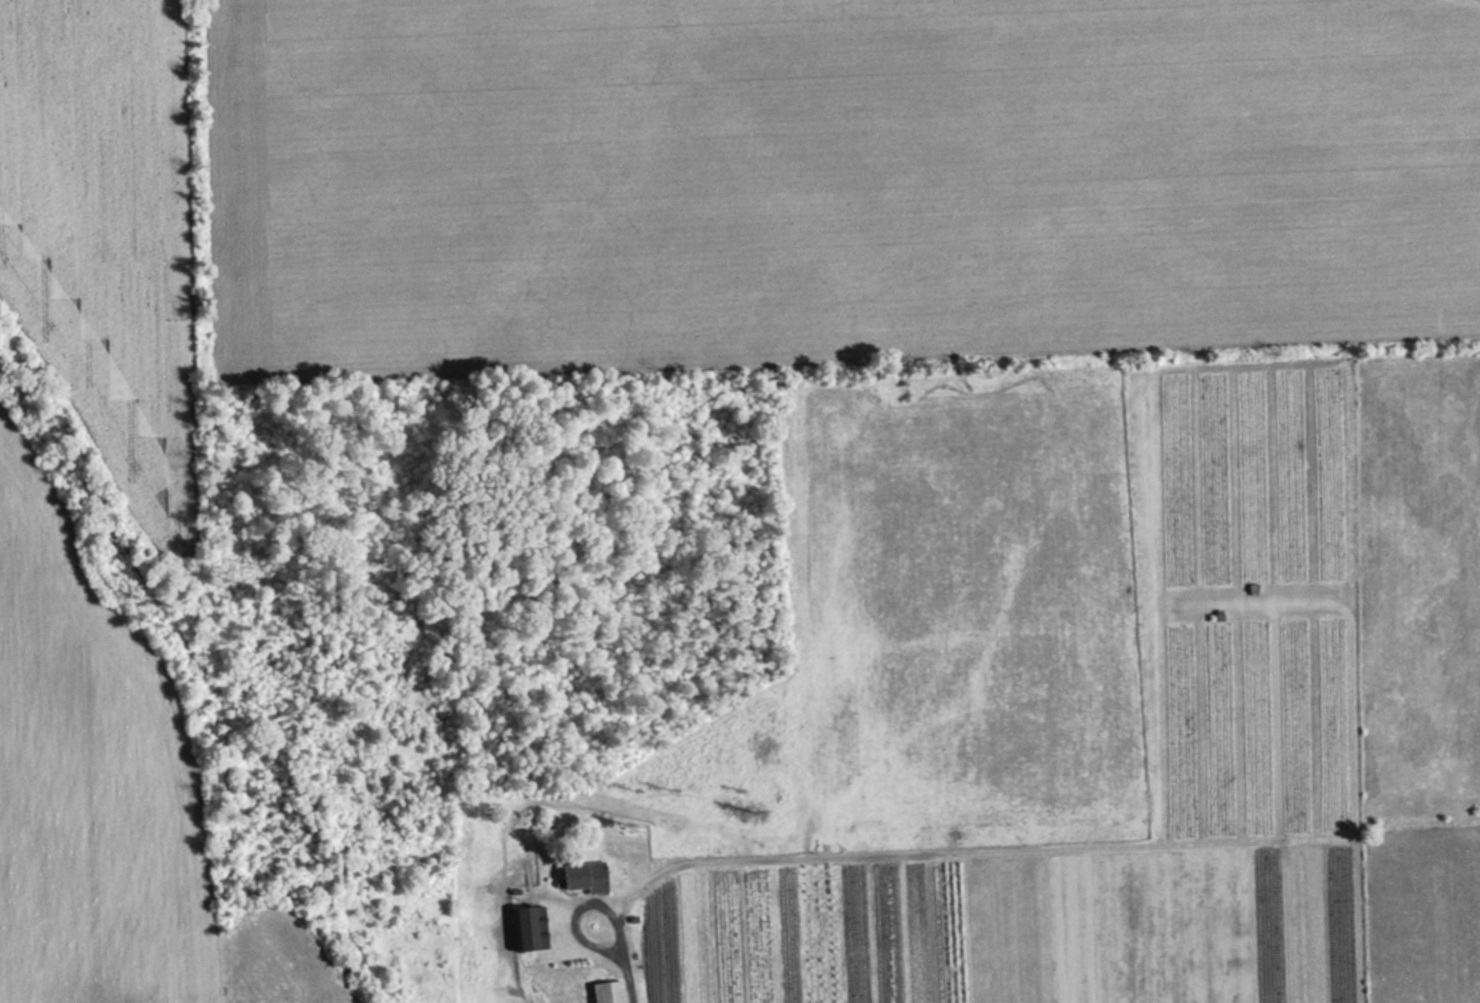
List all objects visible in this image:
building: (585, 879)
building: (531, 929)

